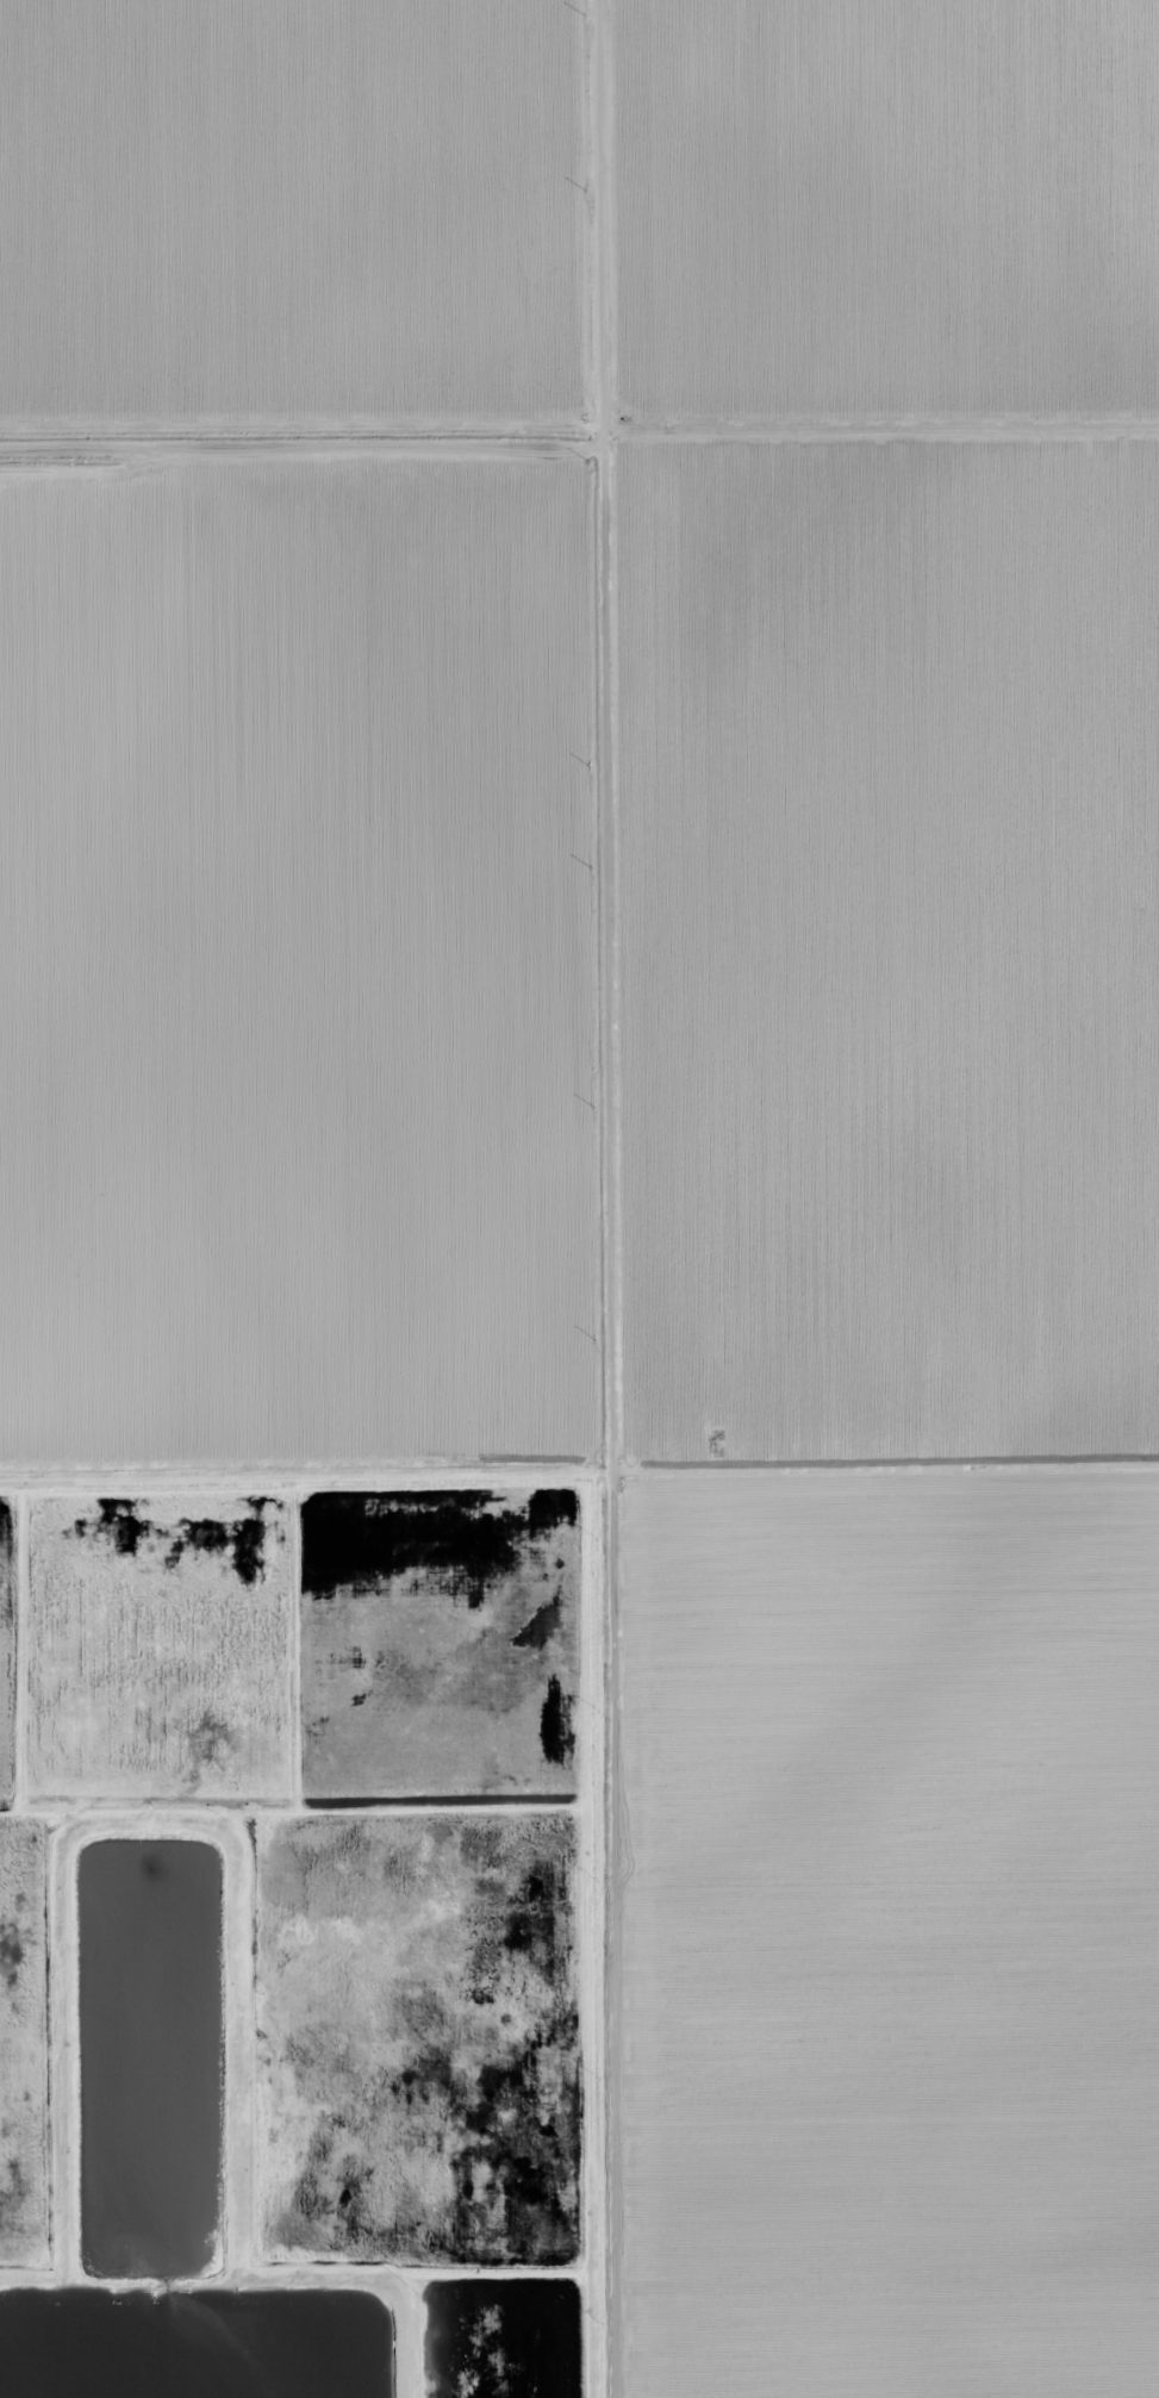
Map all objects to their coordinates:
road: (301, 457)
road: (607, 1198)

